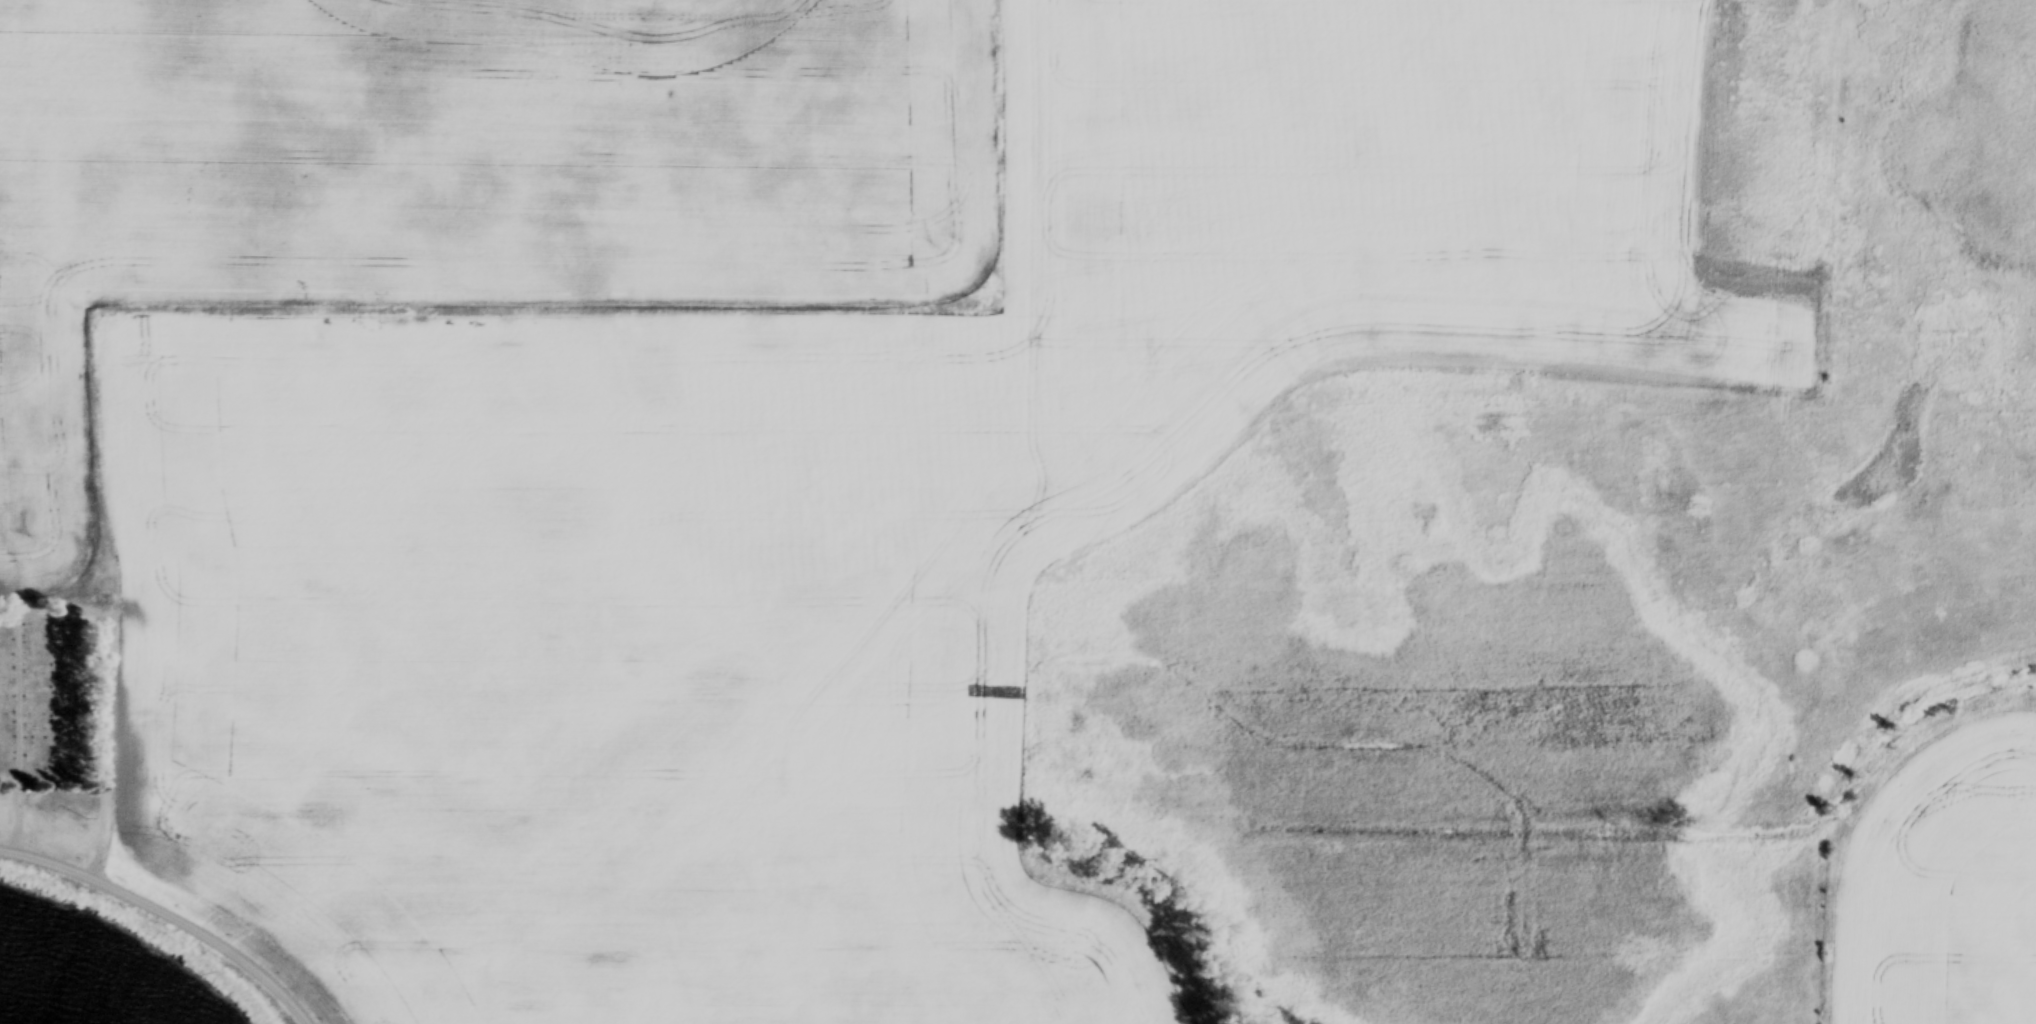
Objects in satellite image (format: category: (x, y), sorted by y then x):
road: (72, 614)
park: (53, 699)
road: (163, 919)

